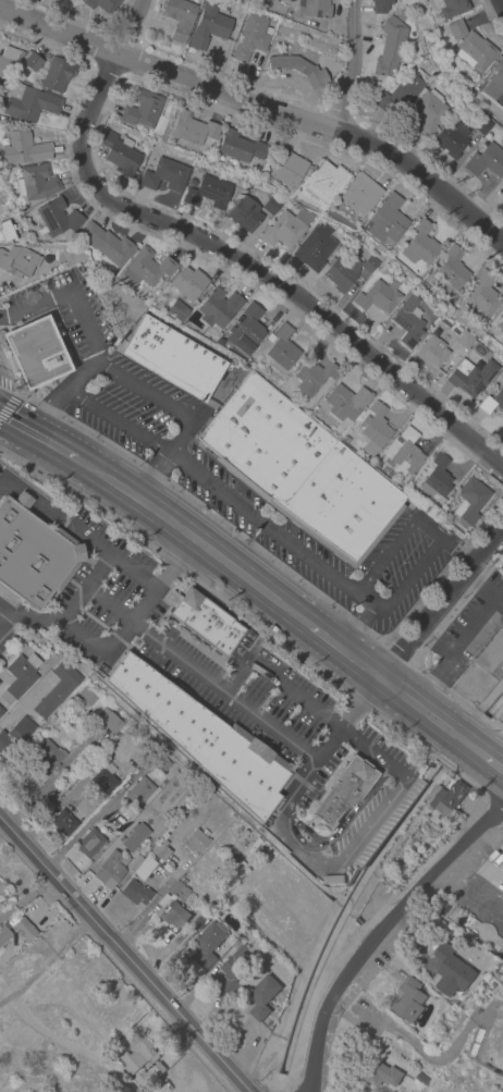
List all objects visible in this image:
building: (102, 4)
road: (500, 4)
building: (380, 5)
building: (449, 7)
building: (312, 9)
building: (180, 17)
road: (127, 26)
building: (209, 26)
building: (455, 28)
road: (352, 34)
building: (251, 37)
building: (391, 44)
building: (474, 52)
building: (7, 59)
building: (30, 62)
building: (298, 69)
building: (57, 74)
building: (494, 81)
building: (401, 94)
road: (342, 99)
building: (28, 102)
road: (262, 108)
building: (142, 109)
building: (427, 111)
building: (480, 123)
building: (192, 127)
building: (451, 138)
building: (238, 146)
building: (23, 148)
building: (209, 149)
building: (120, 154)
building: (486, 161)
building: (286, 169)
building: (164, 175)
building: (502, 181)
building: (323, 182)
building: (36, 183)
building: (192, 183)
building: (208, 193)
building: (360, 194)
building: (271, 205)
building: (244, 213)
building: (56, 218)
building: (385, 222)
building: (10, 229)
building: (285, 229)
building: (419, 244)
building: (106, 245)
building: (314, 247)
building: (75, 255)
building: (19, 261)
building: (382, 265)
building: (146, 268)
building: (452, 268)
road: (248, 269)
building: (346, 270)
building: (187, 282)
road: (68, 293)
building: (481, 294)
building: (378, 296)
parking lot: (68, 308)
building: (218, 308)
building: (177, 310)
road: (2, 317)
building: (408, 320)
building: (500, 326)
building: (246, 329)
building: (270, 338)
building: (464, 339)
building: (281, 349)
building: (431, 351)
building: (35, 352)
building: (173, 357)
road: (81, 373)
building: (312, 376)
building: (470, 376)
road: (9, 387)
road: (144, 388)
building: (345, 402)
building: (492, 402)
road: (9, 403)
road: (49, 412)
road: (116, 419)
road: (16, 424)
building: (375, 429)
road: (180, 433)
building: (345, 439)
road: (63, 451)
building: (406, 453)
parking lot: (0, 466)
building: (300, 469)
road: (151, 474)
building: (437, 477)
parking lot: (248, 490)
road: (30, 493)
building: (469, 500)
road: (270, 527)
road: (443, 539)
road: (203, 547)
road: (110, 552)
building: (33, 553)
road: (385, 555)
road: (175, 563)
road: (98, 570)
road: (475, 577)
road: (407, 579)
road: (492, 596)
road: (440, 602)
road: (143, 603)
road: (1, 609)
road: (5, 618)
road: (24, 618)
building: (203, 622)
road: (354, 626)
parking lot: (468, 630)
road: (82, 635)
road: (116, 635)
road: (463, 637)
building: (247, 638)
road: (435, 638)
road: (343, 652)
parking lot: (200, 664)
building: (101, 668)
building: (481, 670)
road: (234, 675)
building: (19, 676)
building: (60, 685)
road: (220, 688)
road: (424, 691)
road: (292, 694)
building: (85, 697)
building: (1, 711)
road: (429, 715)
building: (110, 721)
building: (500, 723)
building: (15, 735)
building: (201, 737)
building: (143, 747)
road: (371, 752)
building: (44, 759)
building: (160, 762)
road: (491, 763)
road: (299, 780)
building: (102, 781)
building: (138, 792)
building: (344, 792)
road: (70, 795)
building: (450, 799)
building: (83, 808)
road: (491, 815)
road: (93, 819)
road: (372, 821)
building: (62, 822)
parking lot: (371, 825)
road: (304, 831)
road: (334, 835)
building: (134, 837)
building: (195, 841)
building: (90, 842)
building: (145, 846)
road: (291, 846)
parking lot: (483, 848)
building: (160, 849)
building: (134, 863)
building: (502, 864)
building: (144, 868)
building: (110, 870)
road: (474, 879)
building: (335, 880)
building: (179, 888)
building: (135, 893)
building: (502, 896)
building: (174, 915)
building: (23, 930)
building: (4, 931)
building: (208, 944)
road: (368, 944)
road: (123, 955)
road: (47, 964)
building: (233, 970)
building: (454, 970)
building: (262, 996)
building: (412, 999)
road: (48, 1034)
road: (413, 1041)
building: (142, 1050)
building: (382, 1073)
building: (148, 1075)
building: (424, 1078)

